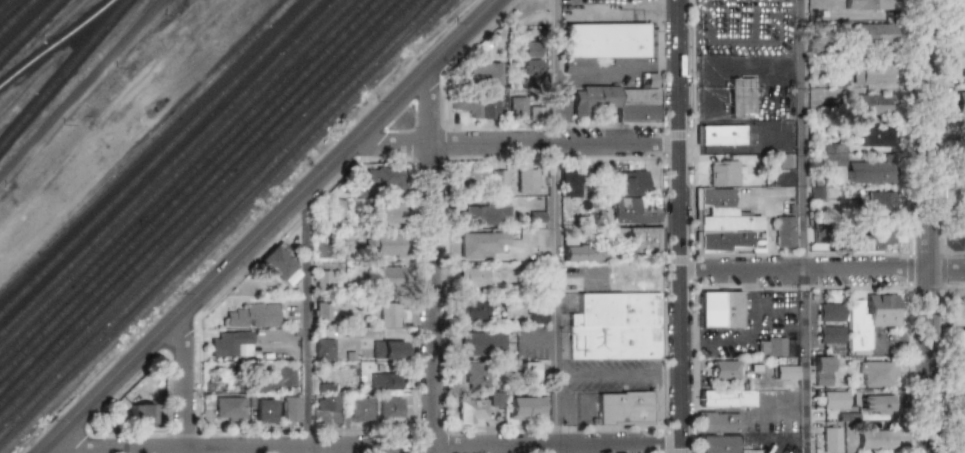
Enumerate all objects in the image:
railway: (5, 5)
building: (869, 5)
road: (623, 7)
building: (961, 7)
railway: (19, 19)
railway: (29, 29)
building: (873, 33)
building: (960, 33)
railway: (57, 43)
building: (600, 43)
building: (532, 60)
road: (609, 66)
building: (961, 66)
railway: (64, 74)
building: (483, 74)
building: (872, 74)
building: (741, 97)
building: (618, 102)
building: (960, 102)
building: (874, 104)
building: (466, 105)
building: (517, 105)
building: (488, 106)
building: (534, 112)
building: (720, 135)
building: (878, 136)
road: (514, 143)
railway: (147, 146)
building: (833, 155)
railway: (159, 157)
railway: (169, 168)
building: (869, 173)
railway: (176, 174)
building: (471, 177)
building: (499, 177)
building: (383, 178)
building: (526, 179)
railway: (183, 181)
building: (570, 183)
railway: (190, 188)
building: (816, 194)
railway: (197, 195)
building: (631, 197)
building: (879, 201)
railway: (204, 202)
building: (335, 207)
railway: (211, 208)
building: (722, 212)
building: (387, 213)
building: (482, 214)
building: (962, 217)
building: (536, 218)
railway: (219, 219)
road: (266, 226)
road: (556, 226)
road: (677, 226)
road: (803, 226)
road: (928, 226)
railway: (229, 228)
building: (784, 231)
building: (874, 236)
building: (640, 240)
building: (481, 244)
road: (947, 245)
building: (387, 246)
building: (321, 249)
building: (583, 252)
road: (431, 259)
building: (279, 262)
road: (821, 271)
building: (473, 276)
building: (386, 277)
building: (321, 279)
building: (719, 308)
building: (474, 309)
building: (321, 310)
building: (830, 312)
building: (390, 314)
building: (252, 315)
building: (536, 315)
building: (869, 317)
road: (307, 319)
road: (750, 323)
building: (616, 325)
building: (830, 334)
building: (958, 339)
building: (482, 343)
building: (230, 344)
building: (771, 346)
building: (324, 349)
building: (388, 349)
building: (724, 369)
building: (529, 370)
building: (961, 370)
building: (822, 371)
building: (786, 372)
building: (475, 373)
building: (878, 373)
road: (606, 374)
building: (276, 378)
building: (385, 381)
road: (184, 384)
building: (726, 398)
building: (492, 399)
building: (833, 400)
building: (879, 403)
building: (328, 404)
building: (961, 405)
building: (390, 407)
building: (523, 407)
building: (625, 407)
building: (229, 408)
building: (263, 409)
building: (359, 409)
building: (291, 410)
building: (471, 411)
building: (142, 414)
building: (718, 423)
building: (876, 439)
building: (963, 440)
building: (716, 443)
road: (366, 447)
road: (63, 449)
road: (583, 449)

